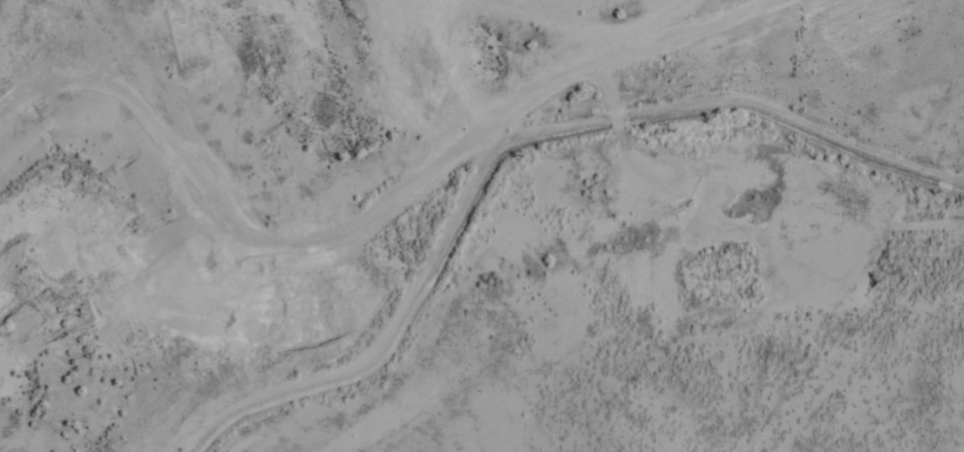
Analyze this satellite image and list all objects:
road: (195, 190)
road: (909, 224)

